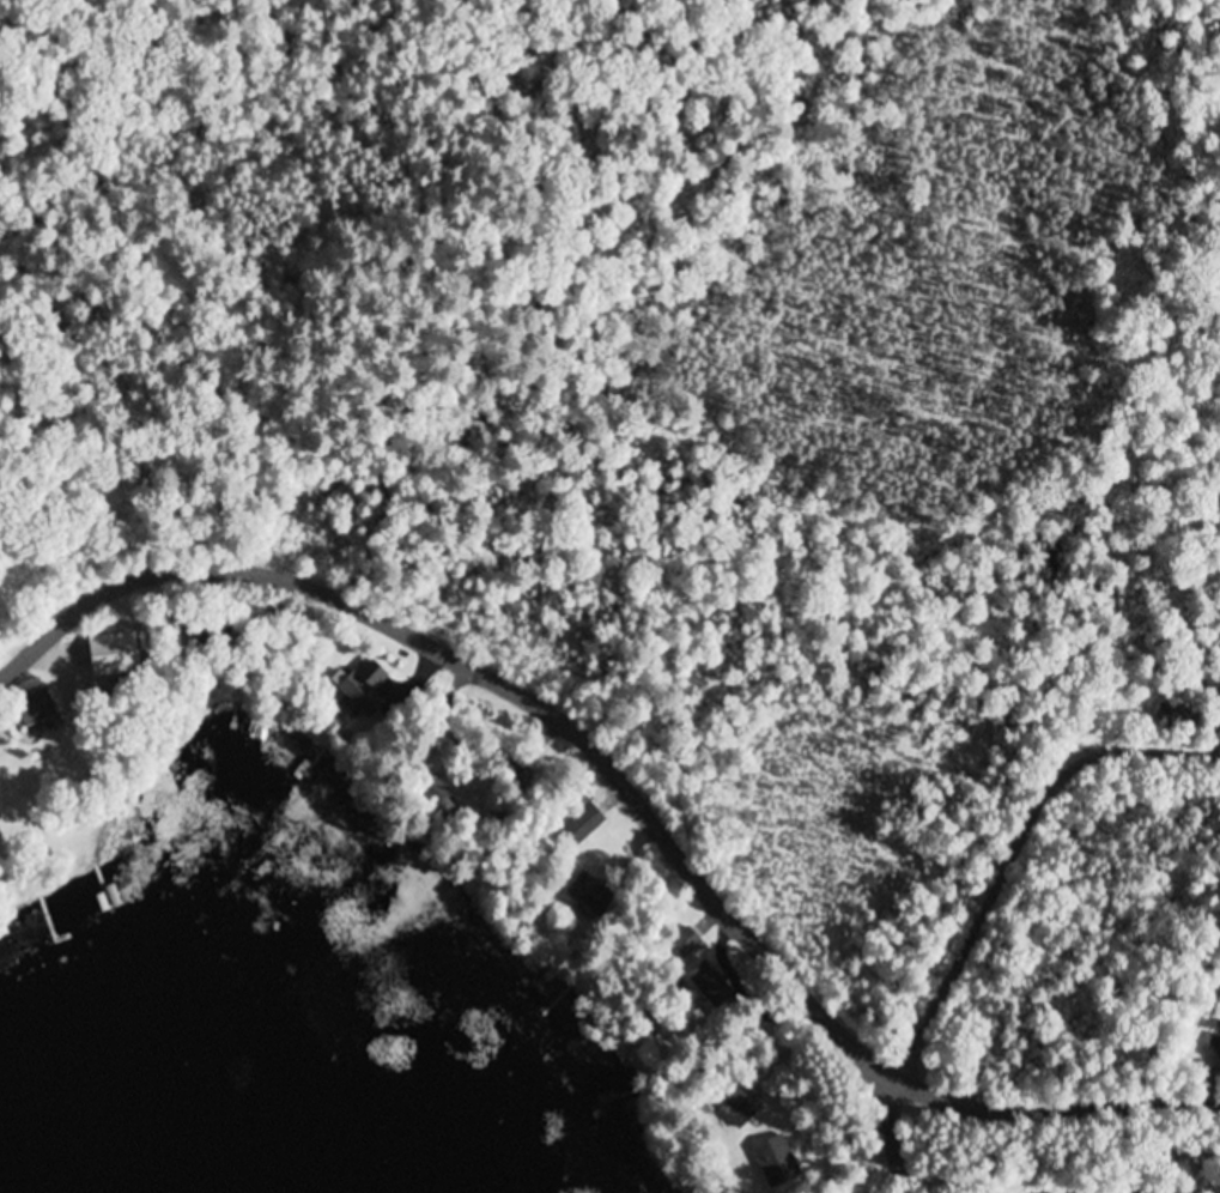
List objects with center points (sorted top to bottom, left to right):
building: (115, 655)
building: (366, 690)
building: (36, 709)
building: (1173, 719)
building: (308, 765)
building: (435, 792)
road: (624, 794)
building: (582, 828)
road: (1022, 859)
building: (589, 896)
building: (684, 946)
building: (738, 1109)
road: (888, 1130)
building: (775, 1163)

